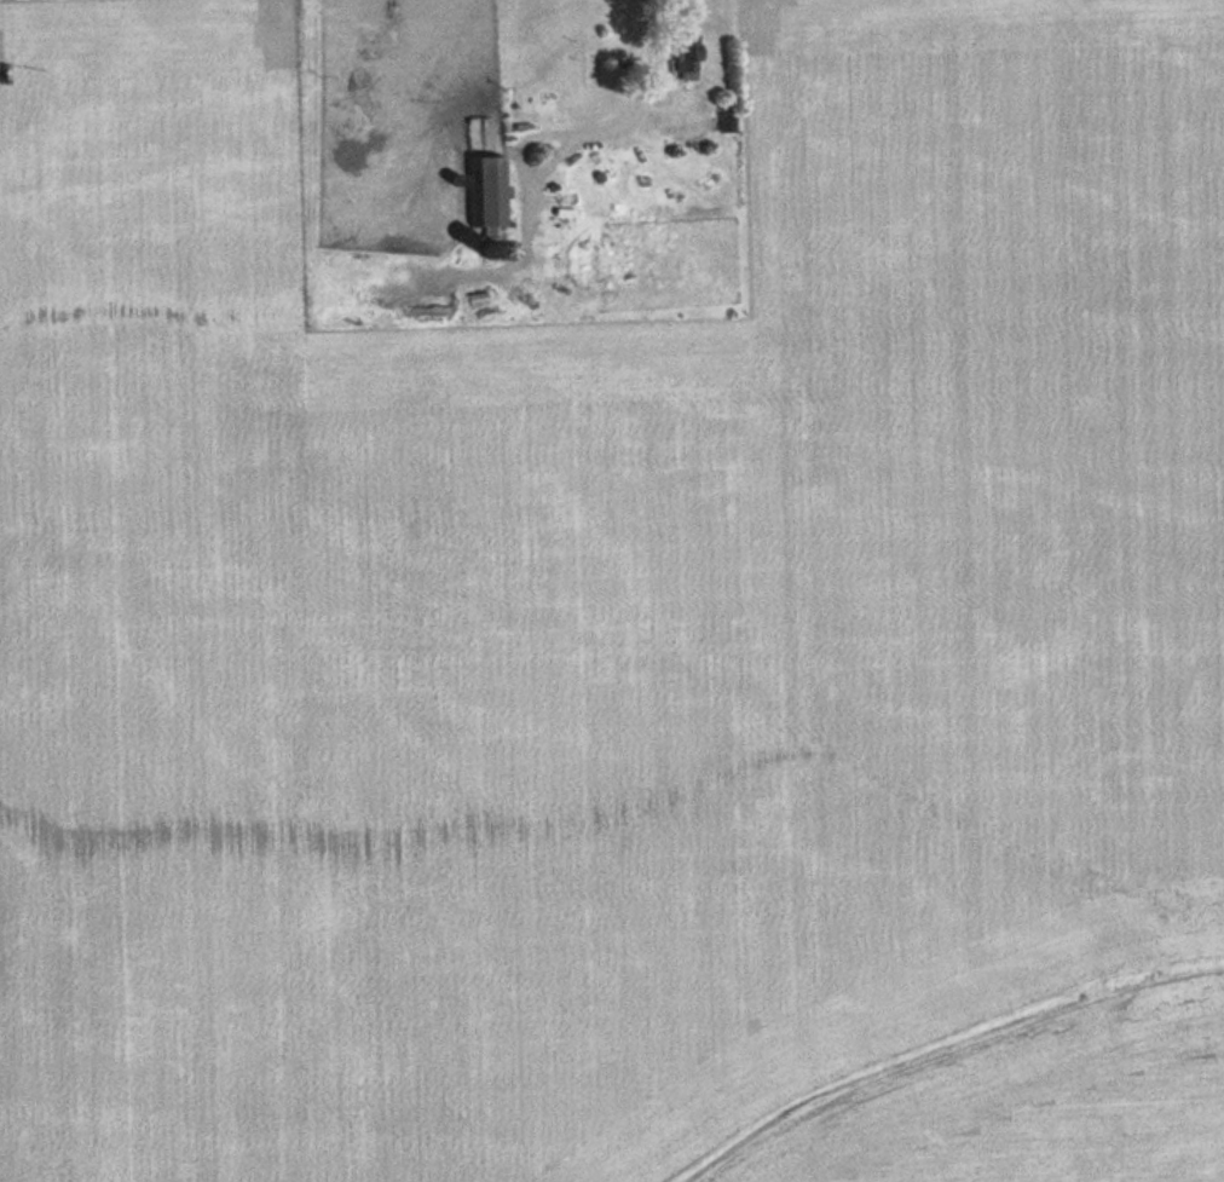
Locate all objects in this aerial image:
building: (688, 57)
building: (490, 191)

